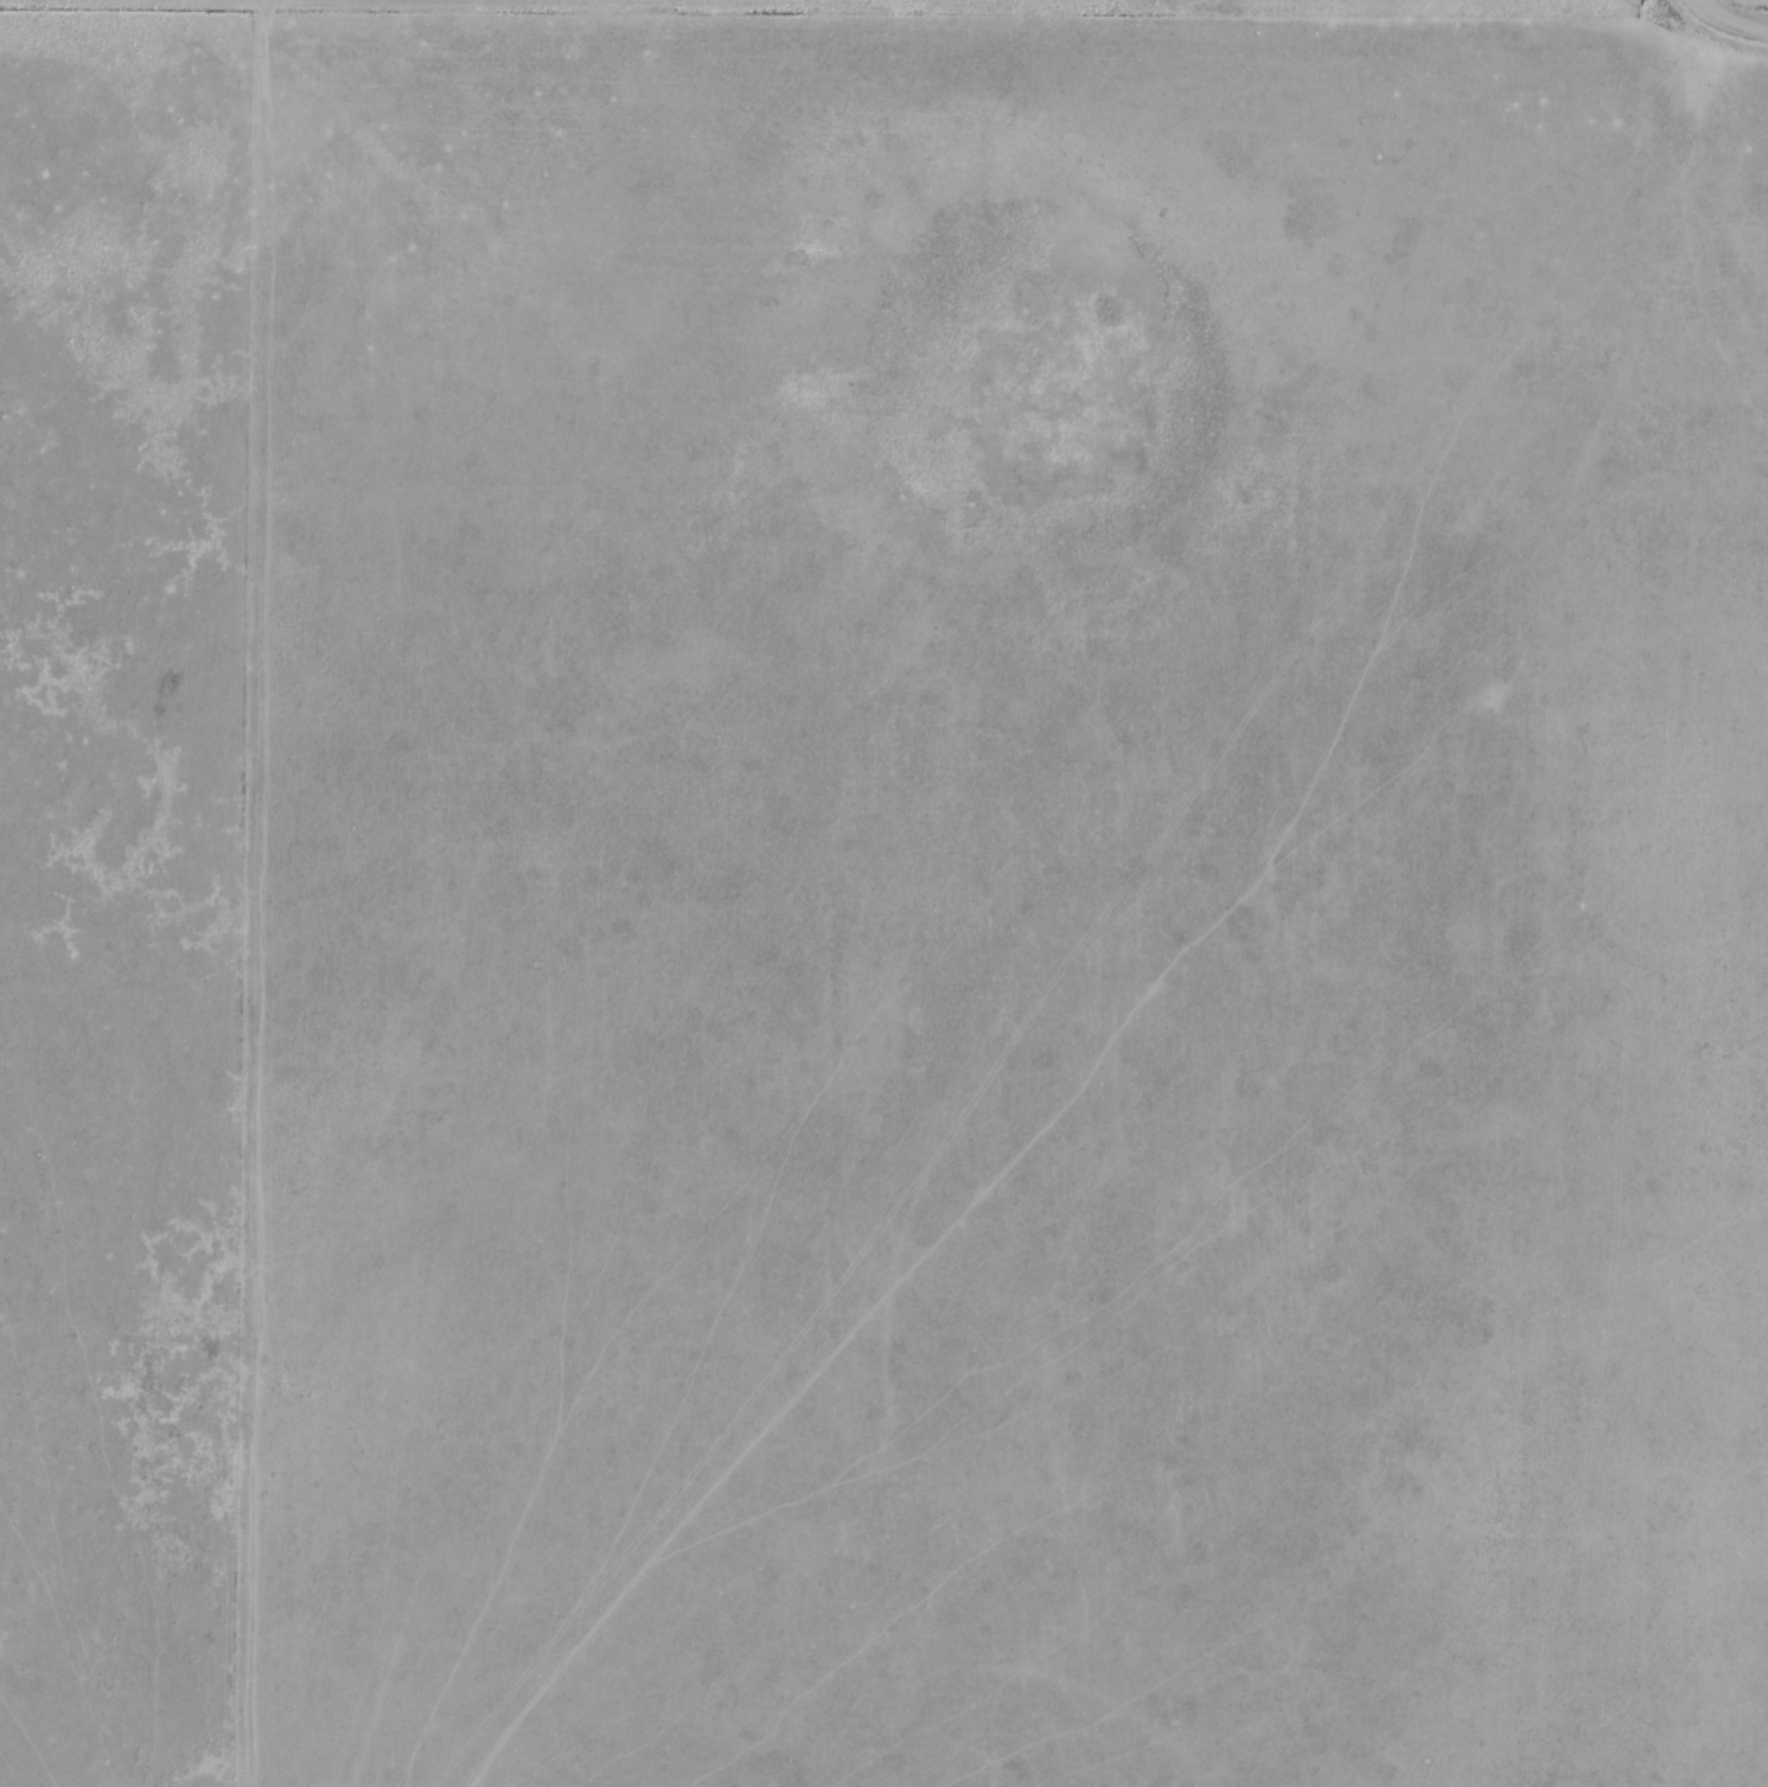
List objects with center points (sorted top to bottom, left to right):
road: (1738, 15)

